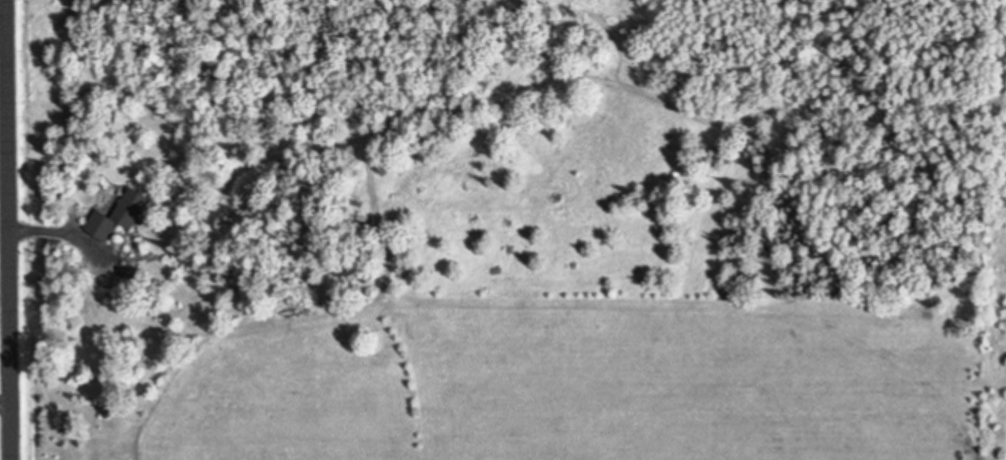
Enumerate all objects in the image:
building: (118, 215)
road: (5, 230)
building: (105, 408)

